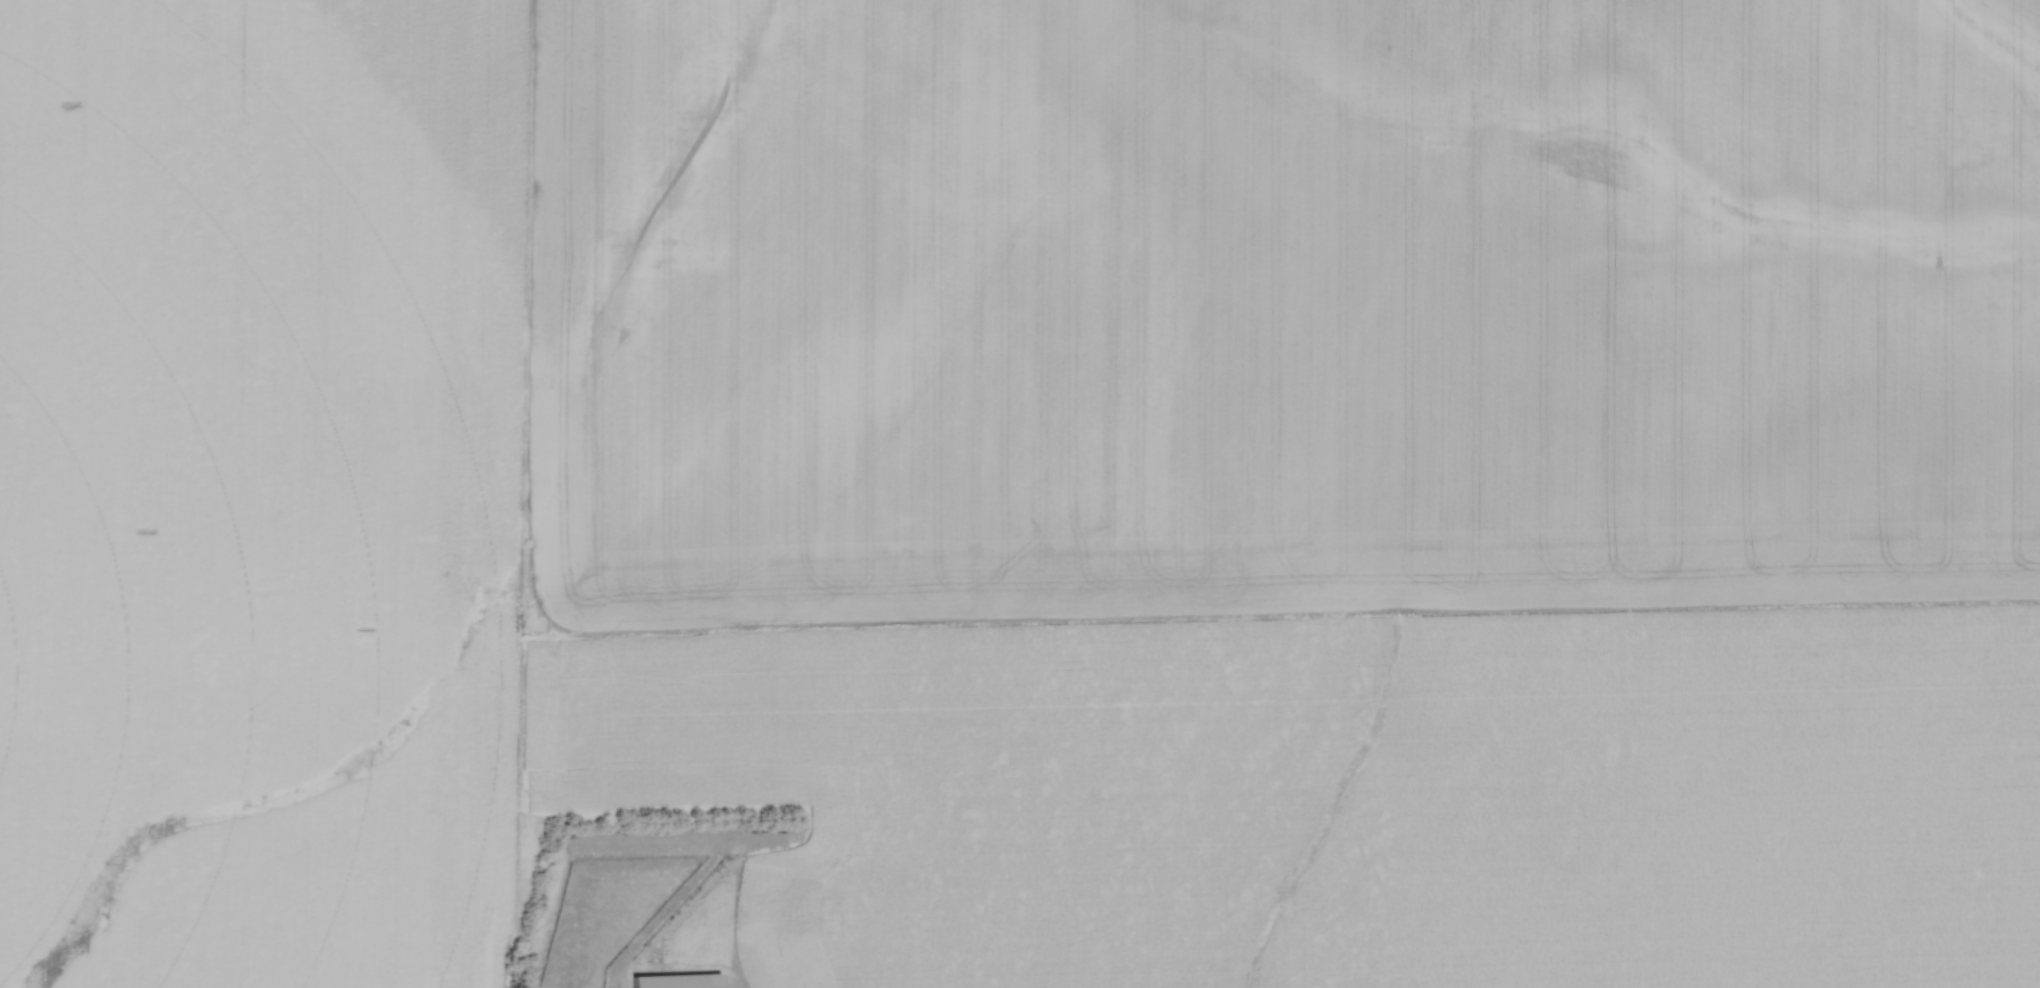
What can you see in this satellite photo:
crop: (1366, 798)
building: (681, 983)

